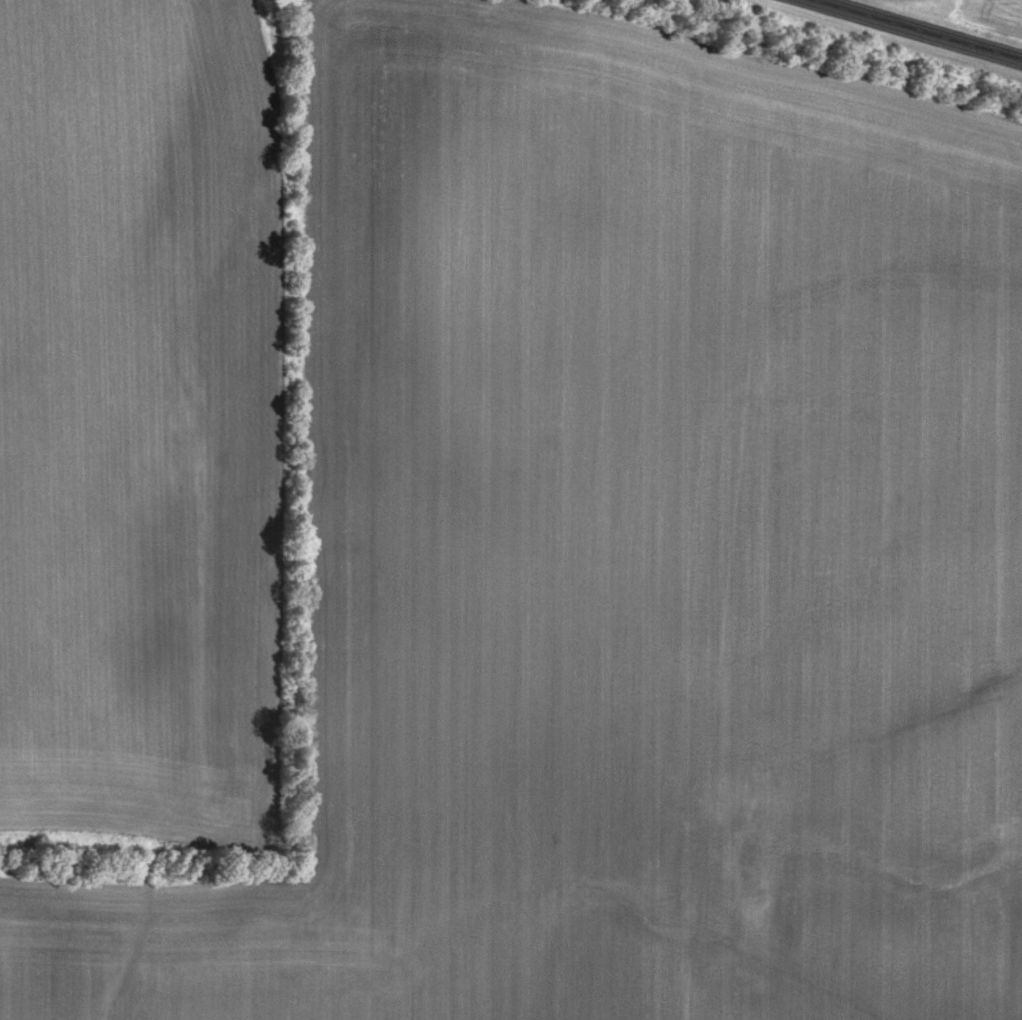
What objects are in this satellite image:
road: (919, 29)

